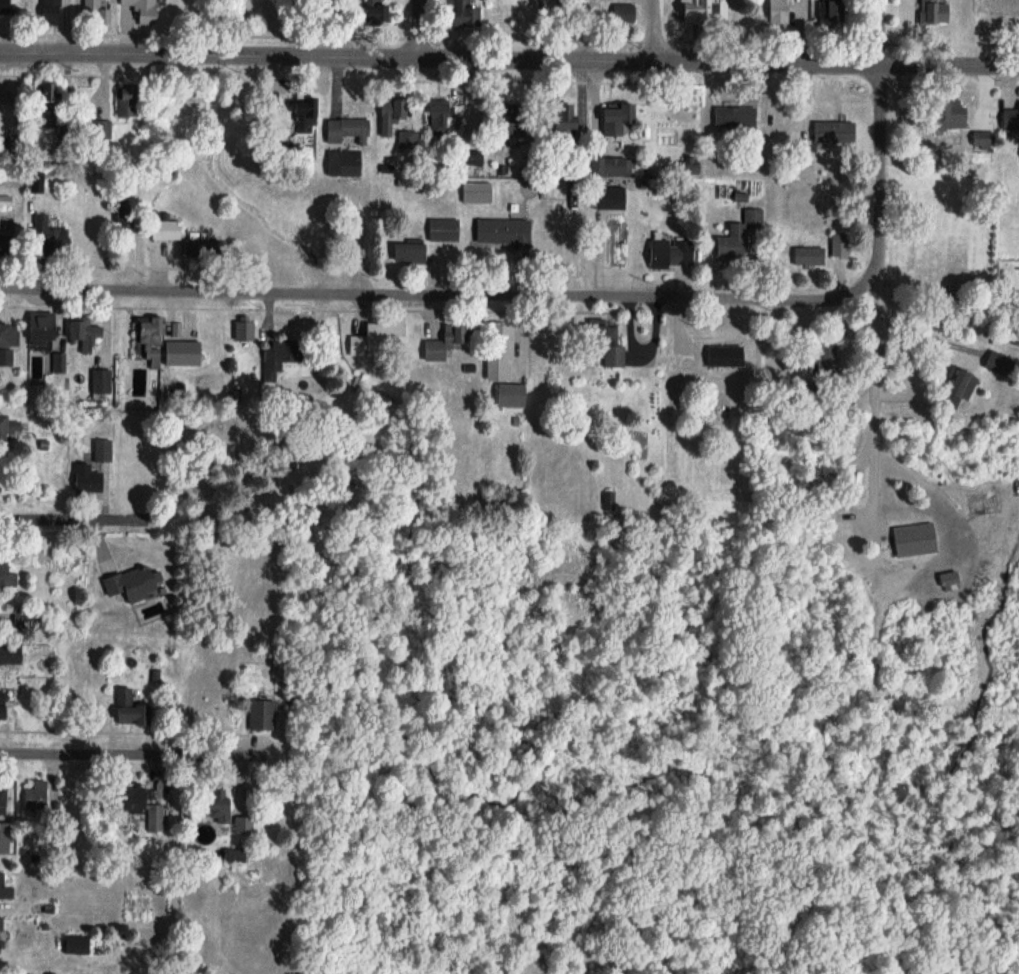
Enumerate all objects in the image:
building: (3, 6)
building: (137, 9)
building: (91, 11)
building: (701, 11)
building: (777, 11)
building: (47, 12)
building: (931, 12)
building: (369, 13)
building: (461, 13)
building: (622, 13)
building: (829, 14)
road: (421, 31)
road: (655, 33)
road: (879, 34)
road: (509, 63)
building: (39, 96)
building: (123, 101)
building: (300, 115)
building: (946, 115)
building: (387, 116)
building: (733, 117)
building: (502, 119)
building: (614, 119)
building: (1009, 119)
building: (559, 120)
building: (437, 121)
building: (100, 129)
building: (344, 130)
building: (832, 132)
building: (405, 140)
building: (980, 140)
building: (11, 141)
building: (340, 163)
building: (605, 167)
road: (880, 179)
building: (33, 182)
building: (475, 193)
building: (606, 199)
building: (162, 230)
building: (441, 231)
building: (501, 233)
building: (45, 234)
building: (735, 236)
building: (615, 243)
building: (839, 246)
building: (199, 249)
building: (404, 253)
building: (669, 254)
building: (806, 257)
road: (436, 292)
building: (36, 328)
building: (80, 332)
building: (239, 332)
building: (376, 337)
road: (927, 338)
building: (146, 341)
building: (7, 343)
building: (442, 343)
building: (602, 344)
building: (496, 350)
building: (178, 354)
building: (273, 359)
building: (826, 361)
building: (56, 363)
building: (998, 364)
building: (98, 382)
building: (957, 388)
road: (874, 394)
building: (509, 396)
building: (6, 427)
building: (100, 452)
building: (79, 479)
building: (607, 502)
road: (64, 518)
building: (5, 574)
building: (132, 585)
building: (8, 655)
building: (0, 707)
building: (126, 711)
building: (259, 716)
road: (134, 752)
building: (33, 796)
building: (1, 801)
building: (215, 804)
building: (137, 807)
building: (240, 826)
building: (2, 838)
building: (231, 856)
building: (4, 891)
building: (73, 944)

